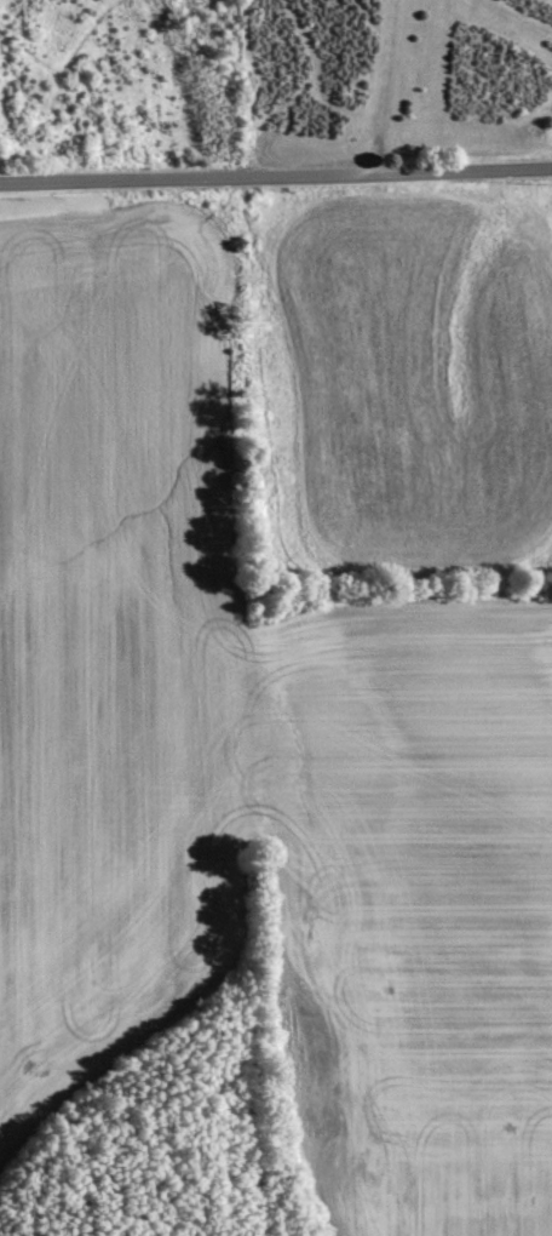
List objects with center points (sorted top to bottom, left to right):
road: (386, 90)
road: (276, 183)

